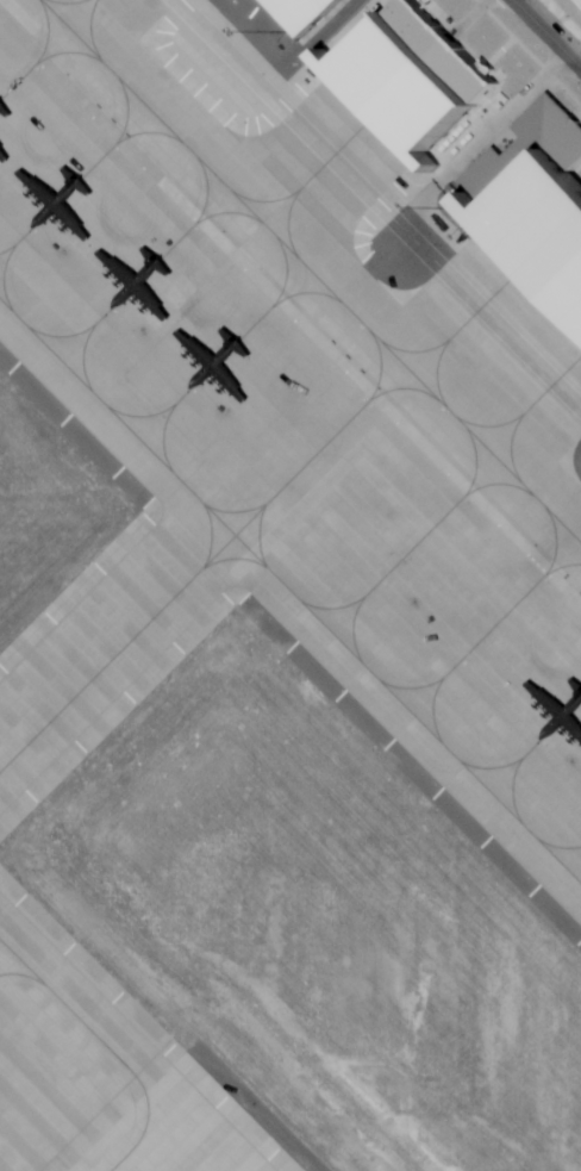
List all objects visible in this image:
airport hangar: (292, 14)
building: (292, 14)
road: (545, 35)
airport hangar: (398, 79)
building: (398, 79)
airport hangar: (532, 206)
building: (532, 206)
airport taxiway: (311, 270)
airport taxiway: (382, 368)
airport taxiway: (406, 391)
airport taxiway: (187, 586)

